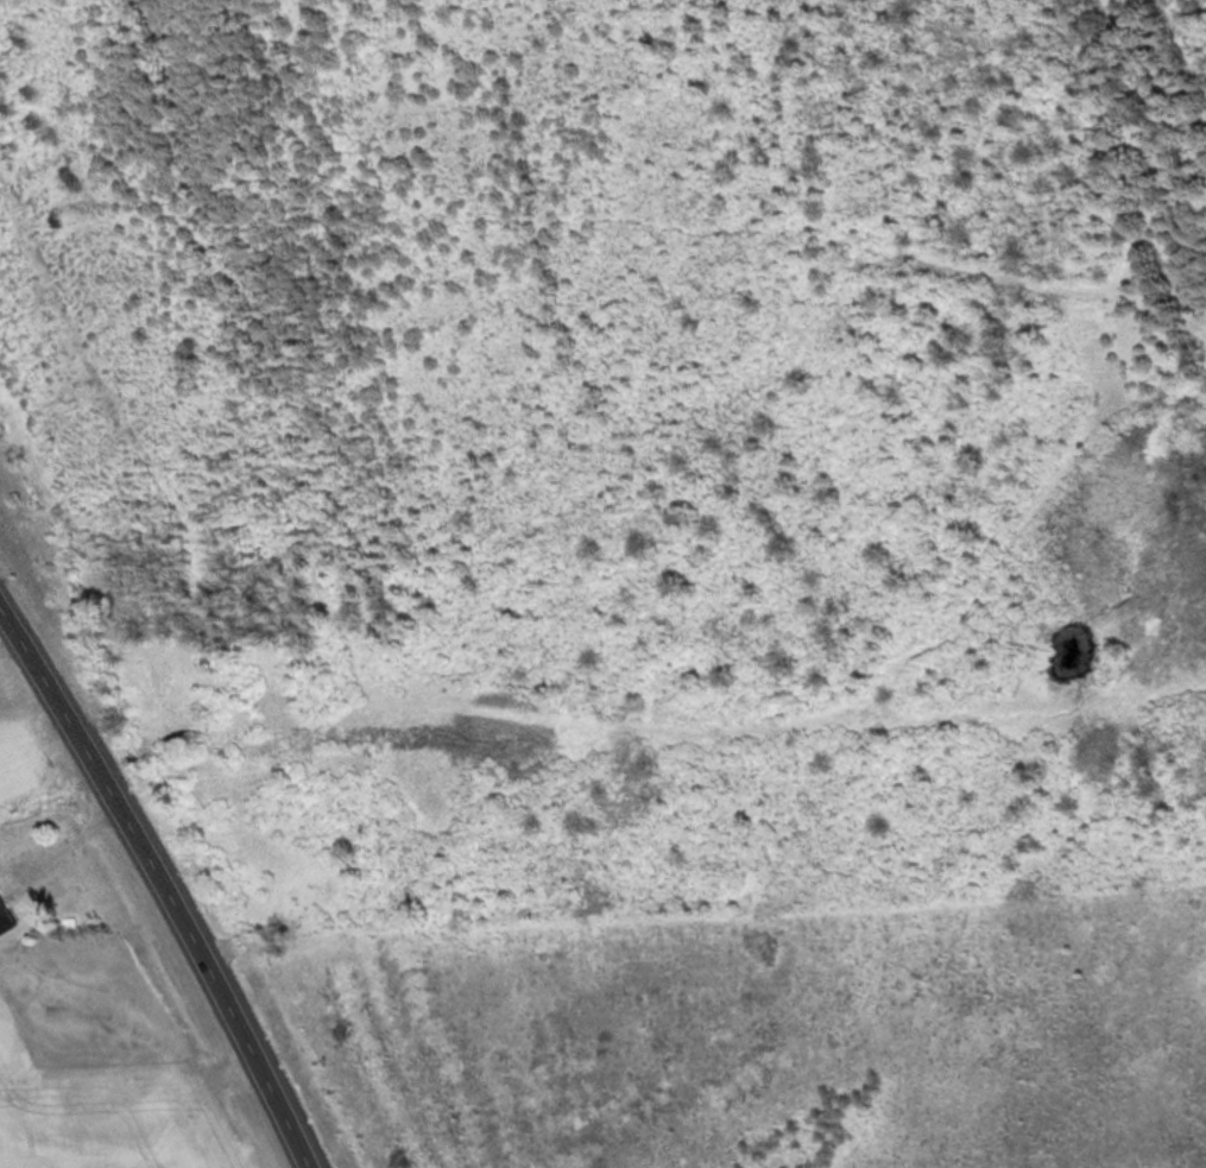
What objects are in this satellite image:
road: (164, 878)
building: (11, 915)

